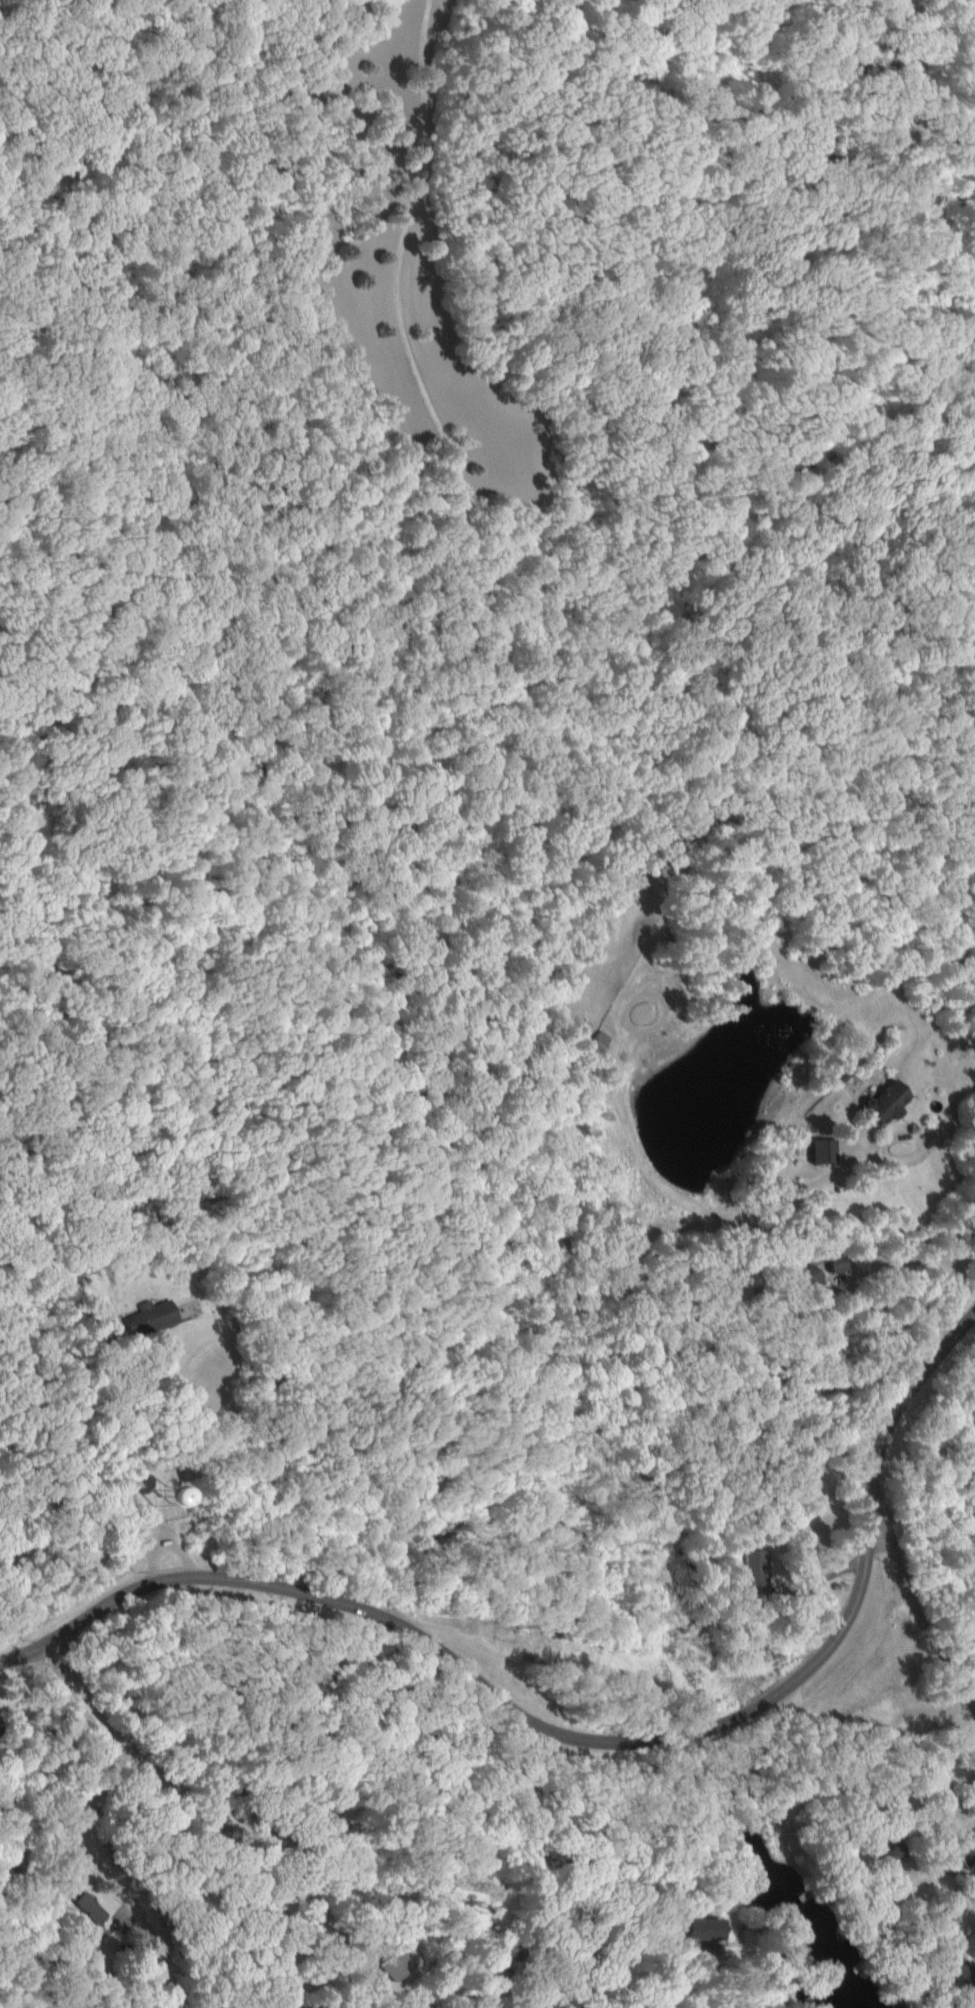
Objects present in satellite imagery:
building: (598, 1041)
building: (889, 1101)
road: (942, 1118)
building: (823, 1151)
road: (917, 1259)
building: (840, 1264)
road: (961, 1276)
building: (810, 1277)
building: (150, 1319)
road: (250, 1470)
building: (756, 1571)
road: (911, 1601)
road: (584, 1741)
road: (218, 1815)
building: (969, 1847)
building: (890, 1854)
road: (102, 1876)
building: (89, 1909)
building: (699, 1929)
building: (970, 1946)
road: (608, 1956)
building: (392, 1967)

